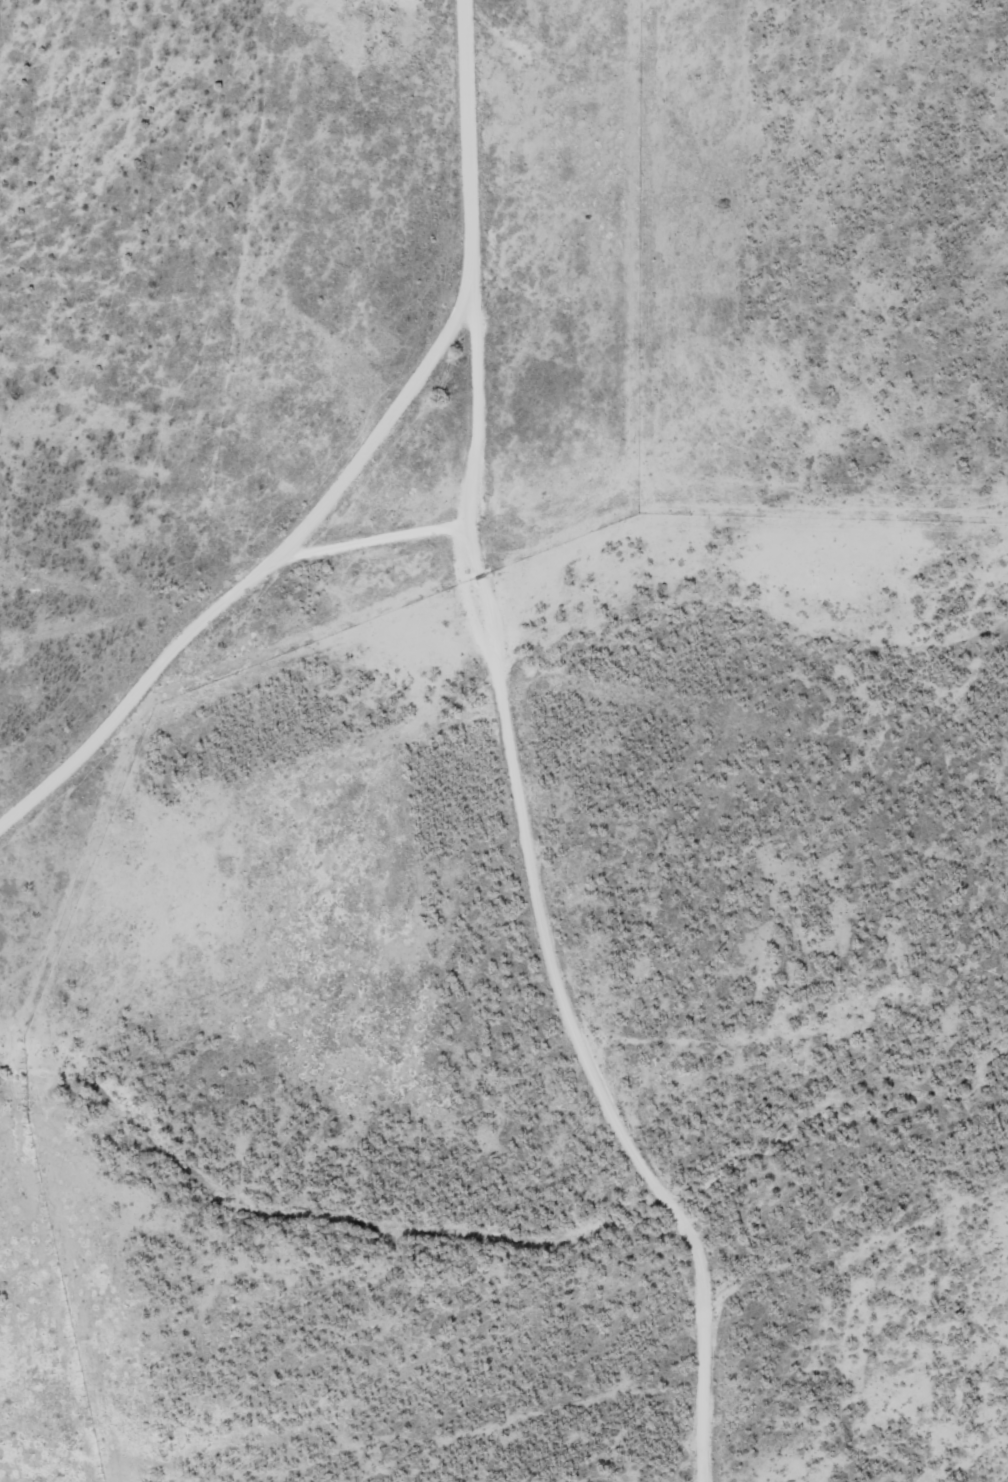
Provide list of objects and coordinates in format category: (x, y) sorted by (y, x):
road: (397, 524)
road: (246, 571)
road: (544, 759)

